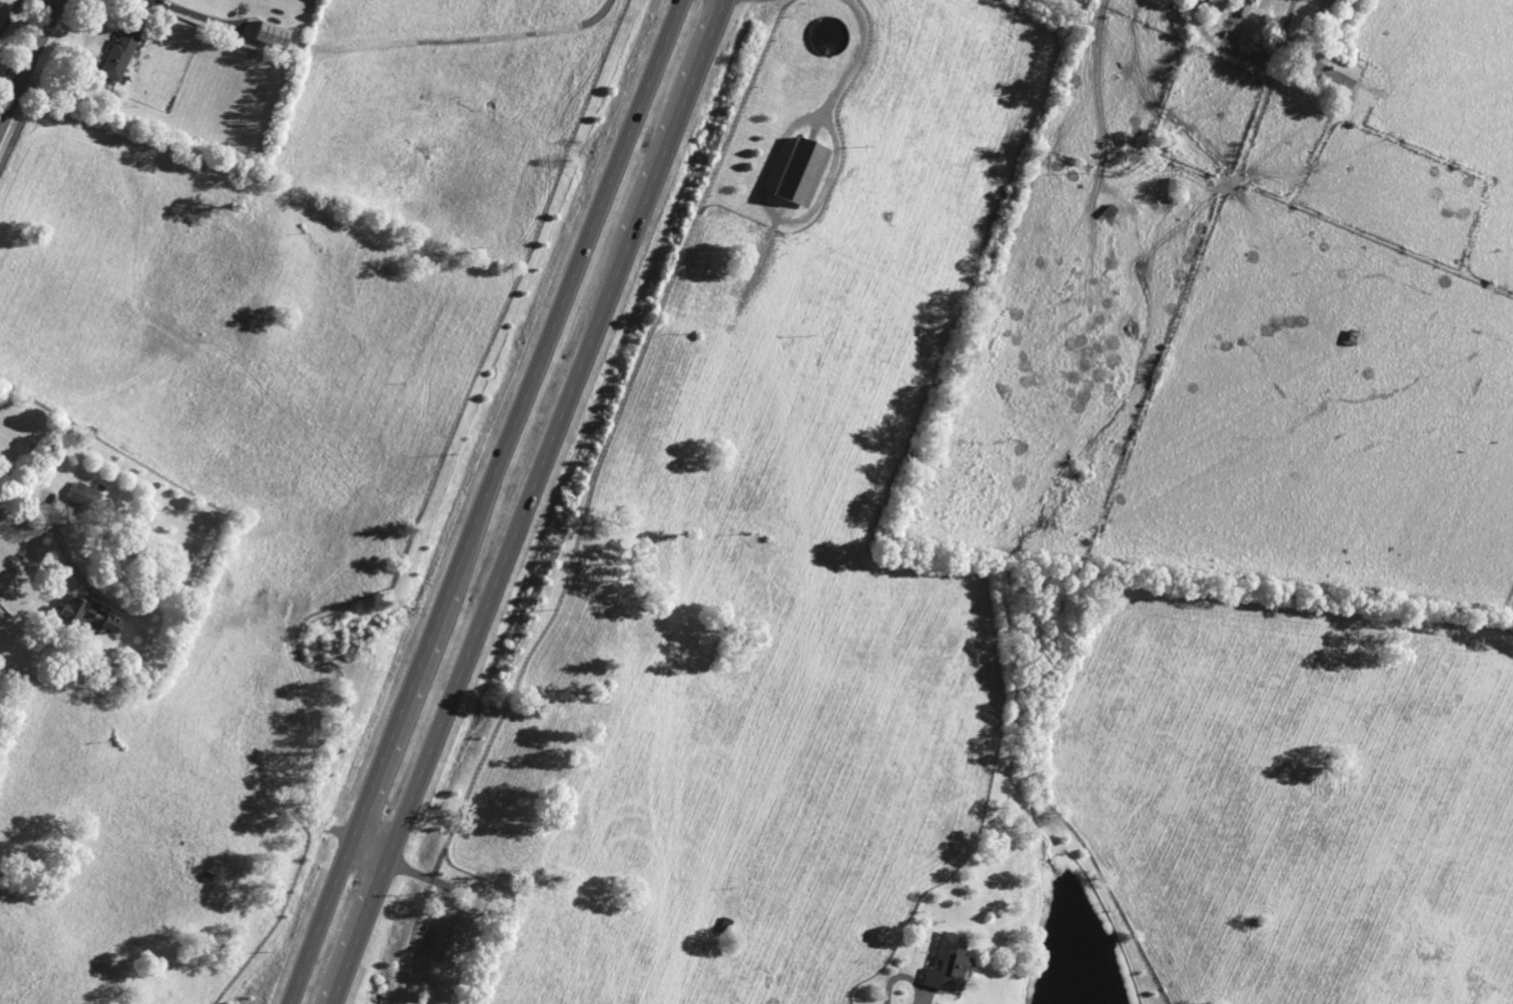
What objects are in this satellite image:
building: (1249, 0)
road: (200, 17)
park: (13, 27)
building: (273, 32)
road: (466, 38)
building: (126, 54)
road: (856, 54)
road: (27, 60)
building: (1325, 70)
building: (809, 170)
park: (37, 454)
road: (25, 494)
building: (87, 496)
road: (483, 502)
road: (527, 502)
road: (142, 601)
building: (99, 617)
road: (445, 879)
building: (454, 936)
building: (953, 964)
road: (903, 975)

